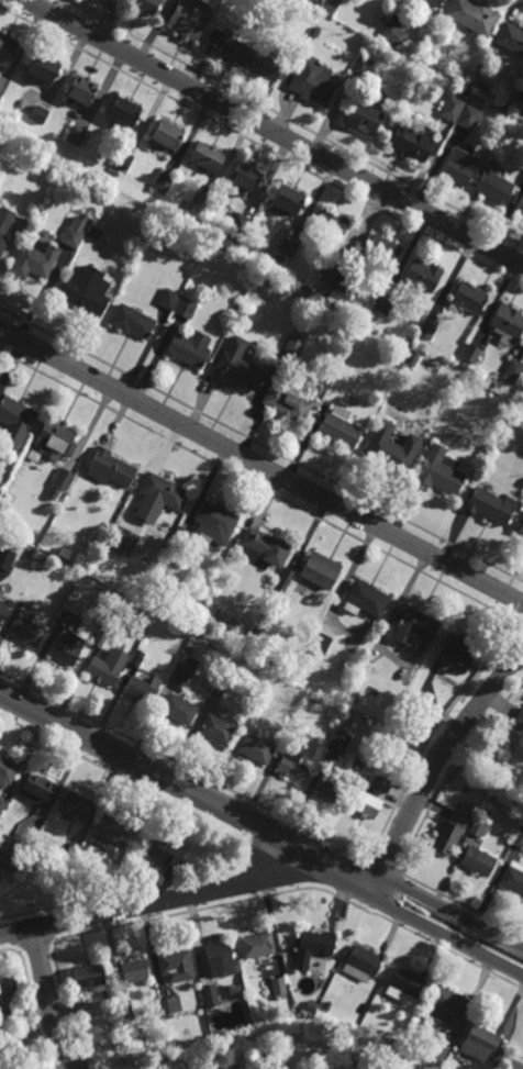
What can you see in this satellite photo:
building: (436, 2)
building: (146, 4)
building: (332, 4)
building: (472, 15)
building: (189, 19)
building: (377, 30)
building: (393, 33)
building: (511, 37)
building: (7, 48)
building: (247, 55)
building: (45, 66)
building: (360, 67)
building: (312, 80)
building: (81, 90)
building: (520, 96)
building: (0, 99)
building: (452, 108)
building: (124, 110)
building: (40, 114)
building: (366, 114)
building: (468, 116)
road: (275, 132)
building: (167, 133)
building: (76, 136)
building: (413, 142)
building: (208, 157)
building: (123, 160)
building: (458, 166)
building: (244, 178)
building: (522, 180)
building: (162, 183)
building: (493, 185)
building: (289, 199)
building: (201, 202)
building: (520, 208)
building: (5, 219)
building: (332, 224)
building: (238, 225)
building: (76, 231)
building: (94, 233)
building: (2, 243)
building: (287, 247)
building: (381, 252)
building: (35, 259)
building: (331, 271)
building: (424, 275)
building: (345, 280)
building: (88, 290)
building: (468, 298)
building: (168, 299)
building: (383, 305)
building: (185, 308)
building: (133, 322)
building: (507, 324)
building: (427, 330)
building: (408, 339)
building: (294, 346)
building: (419, 346)
building: (189, 348)
building: (470, 353)
building: (402, 354)
building: (413, 358)
building: (237, 366)
building: (512, 372)
building: (501, 390)
building: (287, 402)
building: (16, 415)
building: (340, 428)
building: (55, 439)
building: (388, 449)
road: (261, 466)
building: (109, 469)
building: (438, 471)
building: (64, 479)
building: (164, 492)
building: (490, 506)
building: (215, 523)
building: (520, 530)
building: (181, 536)
building: (123, 542)
building: (265, 547)
building: (35, 553)
building: (5, 558)
building: (321, 571)
building: (283, 582)
building: (367, 599)
building: (2, 610)
building: (64, 619)
building: (416, 628)
building: (25, 632)
building: (99, 639)
building: (320, 644)
building: (68, 649)
building: (458, 650)
building: (137, 660)
building: (186, 666)
building: (101, 671)
building: (142, 690)
building: (216, 692)
building: (354, 693)
building: (178, 710)
building: (519, 717)
building: (218, 730)
building: (340, 740)
building: (256, 748)
road: (438, 761)
building: (356, 764)
building: (292, 765)
building: (7, 771)
building: (380, 784)
building: (330, 786)
building: (37, 790)
road: (188, 791)
building: (491, 797)
building: (366, 803)
building: (2, 804)
building: (76, 806)
building: (486, 811)
building: (478, 826)
building: (112, 829)
building: (448, 833)
building: (519, 837)
building: (12, 848)
building: (166, 851)
building: (477, 860)
building: (66, 861)
building: (512, 877)
road: (166, 900)
road: (452, 913)
road: (445, 938)
building: (256, 945)
building: (313, 946)
building: (220, 958)
building: (363, 964)
building: (176, 965)
building: (134, 970)
building: (88, 976)
building: (278, 986)
building: (405, 986)
building: (7, 989)
building: (210, 994)
road: (48, 1003)
building: (445, 1003)
building: (171, 1004)
building: (329, 1005)
building: (125, 1009)
building: (4, 1018)
building: (127, 1024)
building: (478, 1043)
building: (436, 1051)
building: (283, 1059)
building: (267, 1061)
building: (227, 1064)
building: (372, 1064)
building: (512, 1065)
building: (361, 1068)

